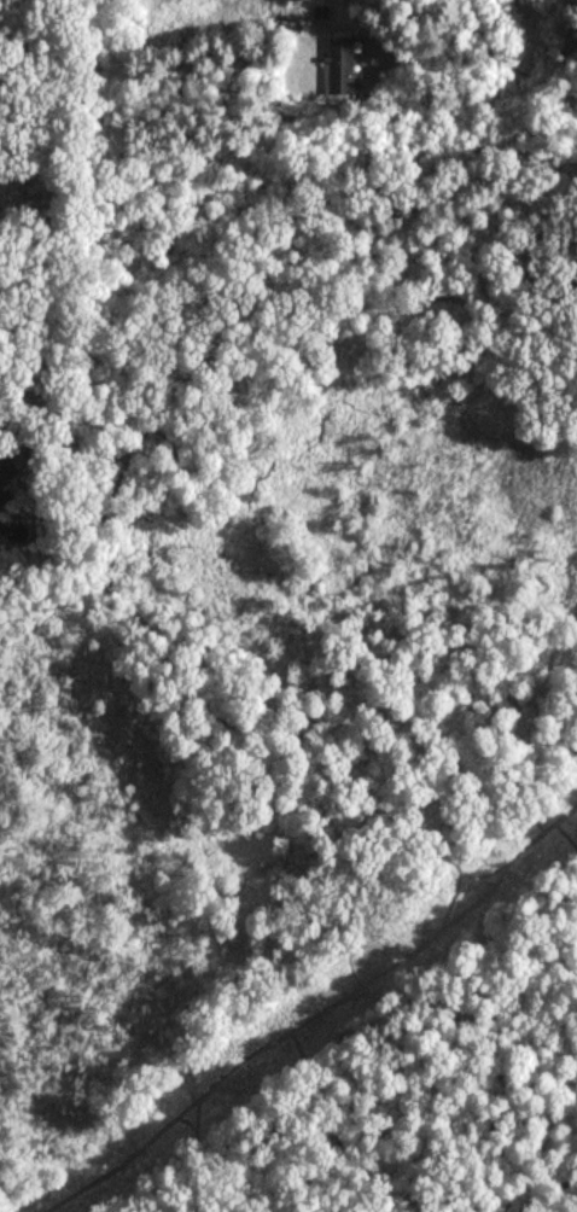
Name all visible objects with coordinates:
building: (302, 0)
building: (338, 65)
building: (2, 495)

